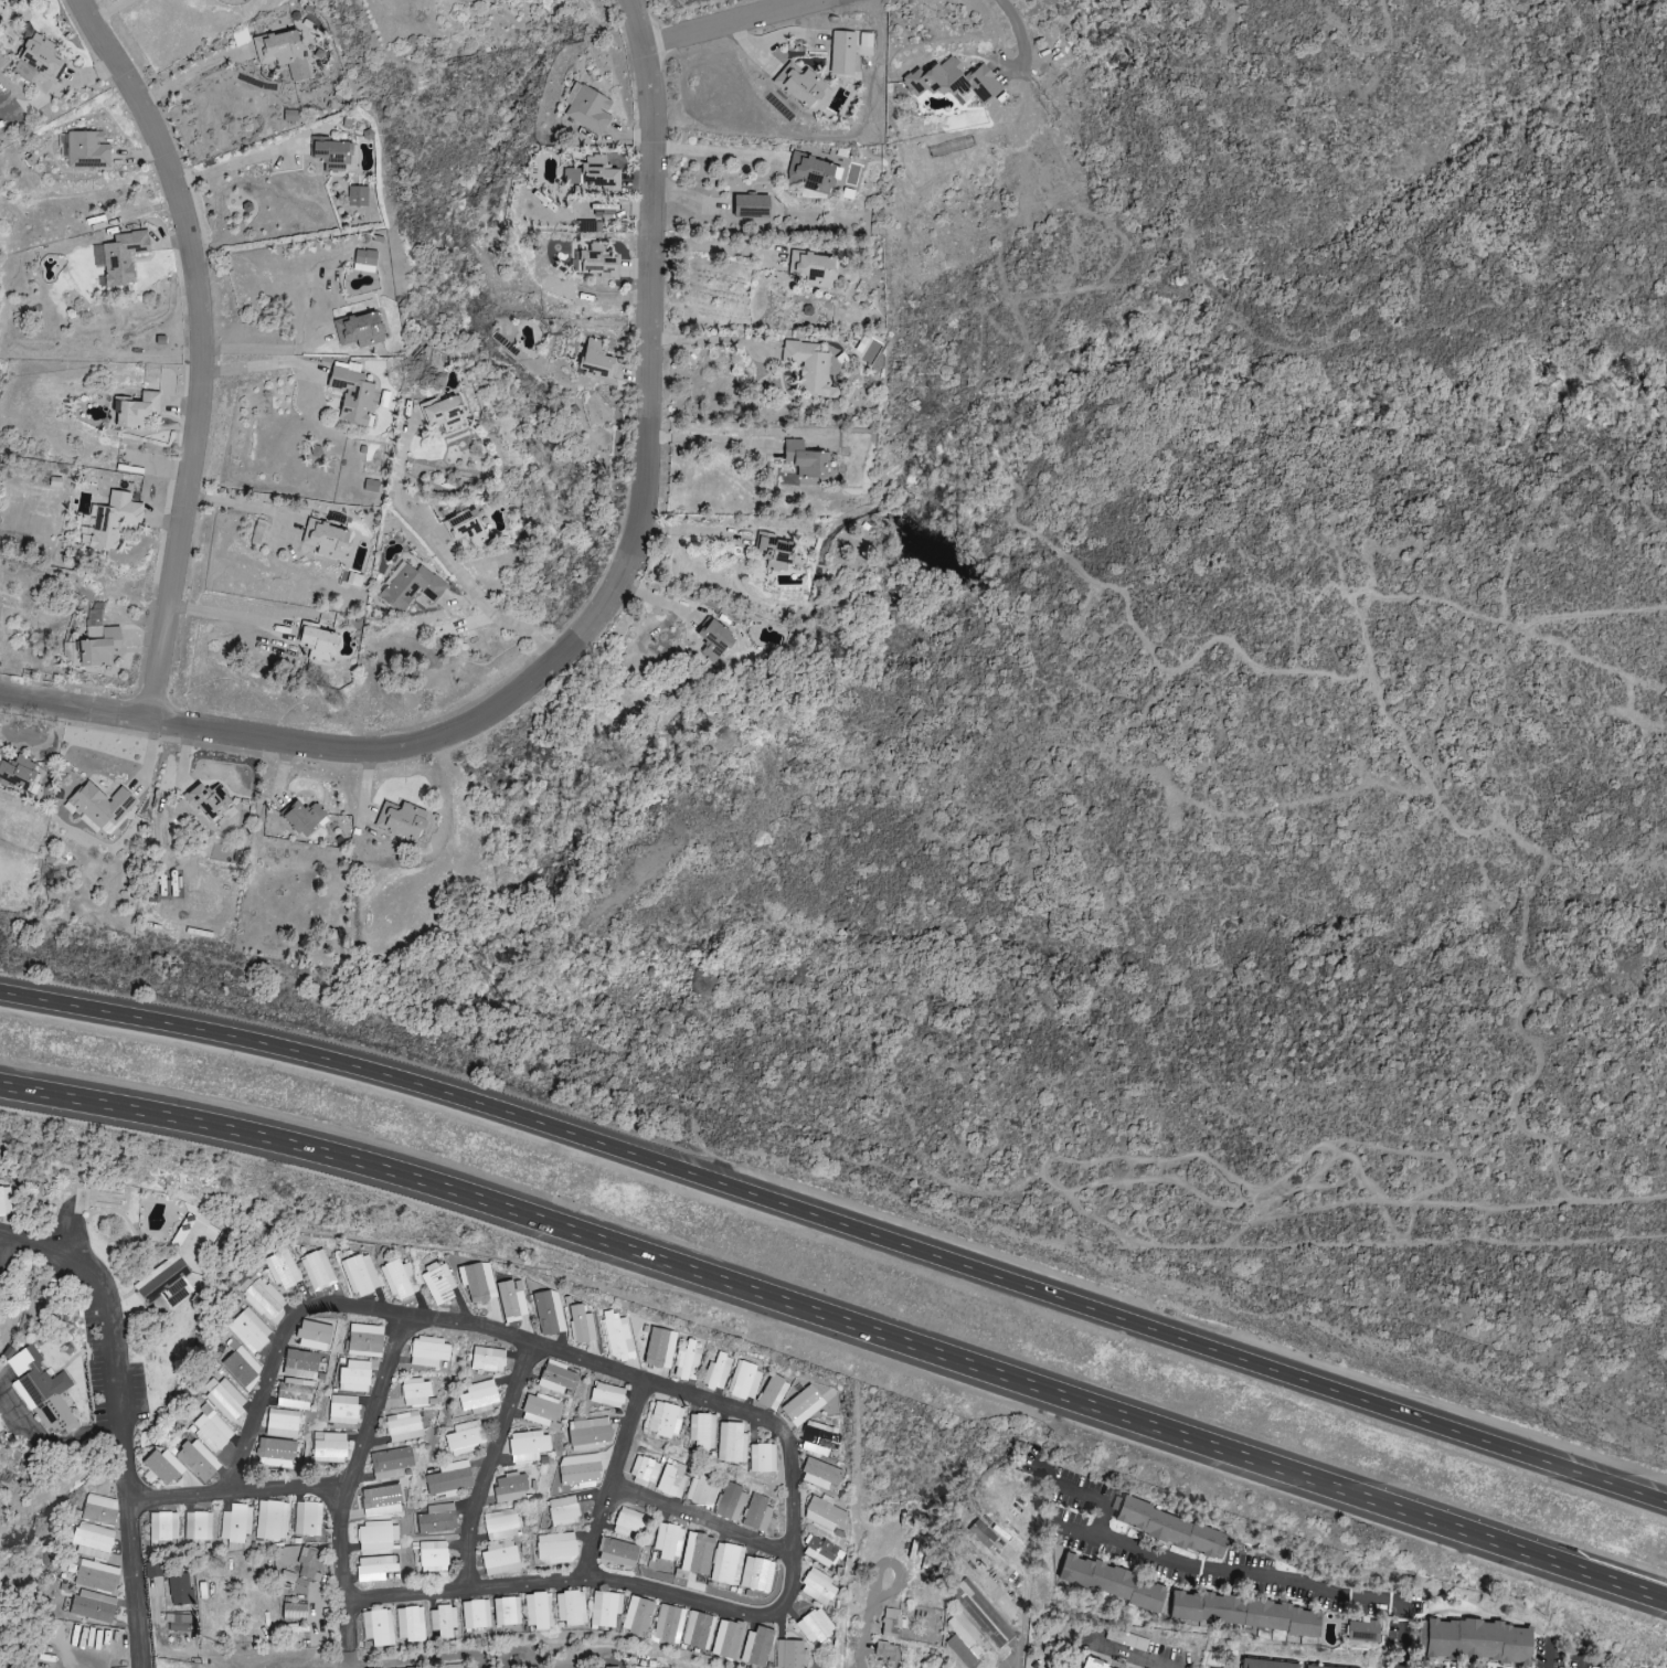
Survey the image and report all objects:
road: (818, 3)
road: (109, 11)
road: (745, 26)
road: (1018, 28)
building: (864, 44)
building: (284, 52)
building: (843, 53)
building: (42, 56)
road: (191, 74)
building: (953, 81)
building: (803, 86)
building: (587, 108)
building: (87, 149)
road: (718, 151)
building: (332, 155)
road: (237, 166)
building: (601, 173)
building: (810, 173)
building: (572, 176)
building: (358, 195)
building: (752, 206)
road: (712, 249)
building: (120, 257)
building: (365, 257)
building: (598, 262)
building: (814, 269)
building: (361, 329)
road: (704, 340)
road: (262, 350)
road: (197, 351)
building: (596, 358)
road: (645, 362)
road: (259, 365)
building: (810, 368)
building: (352, 392)
building: (139, 411)
building: (444, 413)
road: (709, 439)
building: (806, 459)
building: (371, 486)
road: (238, 506)
building: (114, 520)
building: (466, 527)
road: (691, 532)
building: (327, 540)
building: (777, 552)
road: (443, 557)
building: (411, 587)
road: (226, 615)
building: (98, 639)
building: (317, 641)
building: (716, 641)
road: (268, 742)
building: (19, 774)
building: (209, 800)
building: (102, 805)
building: (305, 818)
building: (405, 821)
building: (6, 1201)
road: (839, 1228)
road: (1, 1239)
building: (283, 1269)
building: (317, 1269)
building: (360, 1275)
building: (399, 1279)
building: (478, 1282)
building: (164, 1283)
building: (438, 1283)
building: (263, 1299)
building: (512, 1300)
building: (549, 1313)
road: (839, 1322)
building: (581, 1325)
building: (248, 1330)
building: (314, 1336)
building: (617, 1336)
building: (365, 1340)
building: (429, 1352)
building: (488, 1359)
building: (687, 1362)
building: (301, 1364)
building: (242, 1368)
building: (716, 1372)
building: (355, 1377)
building: (556, 1378)
building: (744, 1380)
building: (43, 1393)
building: (416, 1393)
building: (773, 1393)
building: (295, 1394)
building: (608, 1395)
building: (479, 1396)
building: (225, 1400)
building: (805, 1400)
building: (343, 1410)
road: (373, 1410)
building: (541, 1411)
road: (121, 1414)
road: (758, 1414)
building: (666, 1420)
building: (403, 1426)
building: (210, 1430)
building: (701, 1431)
building: (590, 1433)
building: (465, 1437)
building: (818, 1439)
building: (731, 1443)
building: (328, 1447)
building: (528, 1447)
building: (277, 1453)
building: (763, 1458)
building: (198, 1460)
building: (391, 1463)
road: (495, 1463)
building: (162, 1467)
building: (580, 1469)
building: (646, 1472)
building: (820, 1475)
building: (449, 1478)
road: (618, 1478)
building: (671, 1480)
road: (284, 1486)
building: (510, 1487)
building: (700, 1491)
road: (1084, 1492)
building: (382, 1500)
building: (731, 1502)
building: (100, 1509)
building: (563, 1510)
building: (757, 1513)
building: (824, 1513)
building: (308, 1518)
road: (707, 1518)
building: (437, 1519)
building: (270, 1520)
building: (628, 1522)
building: (235, 1523)
building: (501, 1524)
building: (162, 1526)
building: (198, 1526)
building: (1170, 1528)
building: (983, 1533)
building: (378, 1536)
building: (93, 1541)
building: (668, 1541)
building: (556, 1549)
building: (697, 1551)
building: (819, 1551)
building: (617, 1553)
building: (433, 1557)
building: (500, 1559)
building: (309, 1563)
building: (728, 1564)
building: (375, 1568)
building: (757, 1574)
road: (1259, 1574)
building: (97, 1576)
building: (1114, 1582)
building: (818, 1587)
building: (179, 1589)
building: (94, 1605)
building: (570, 1608)
building: (605, 1608)
building: (507, 1611)
building: (535, 1611)
building: (294, 1612)
building: (1246, 1613)
road: (1023, 1614)
building: (476, 1615)
building: (638, 1615)
building: (443, 1621)
building: (178, 1623)
building: (890, 1623)
building: (410, 1624)
building: (669, 1624)
building: (815, 1626)
building: (378, 1627)
building: (974, 1627)
building: (698, 1630)
building: (1363, 1630)
road: (346, 1633)
road: (863, 1636)
building: (728, 1638)
building: (1478, 1640)
building: (757, 1646)
building: (886, 1651)
building: (789, 1654)
road: (449, 1655)
road: (1132, 1656)
road: (265, 1664)
building: (1270, 1664)
building: (1094, 1665)
building: (1317, 1666)
building: (609, 1667)

